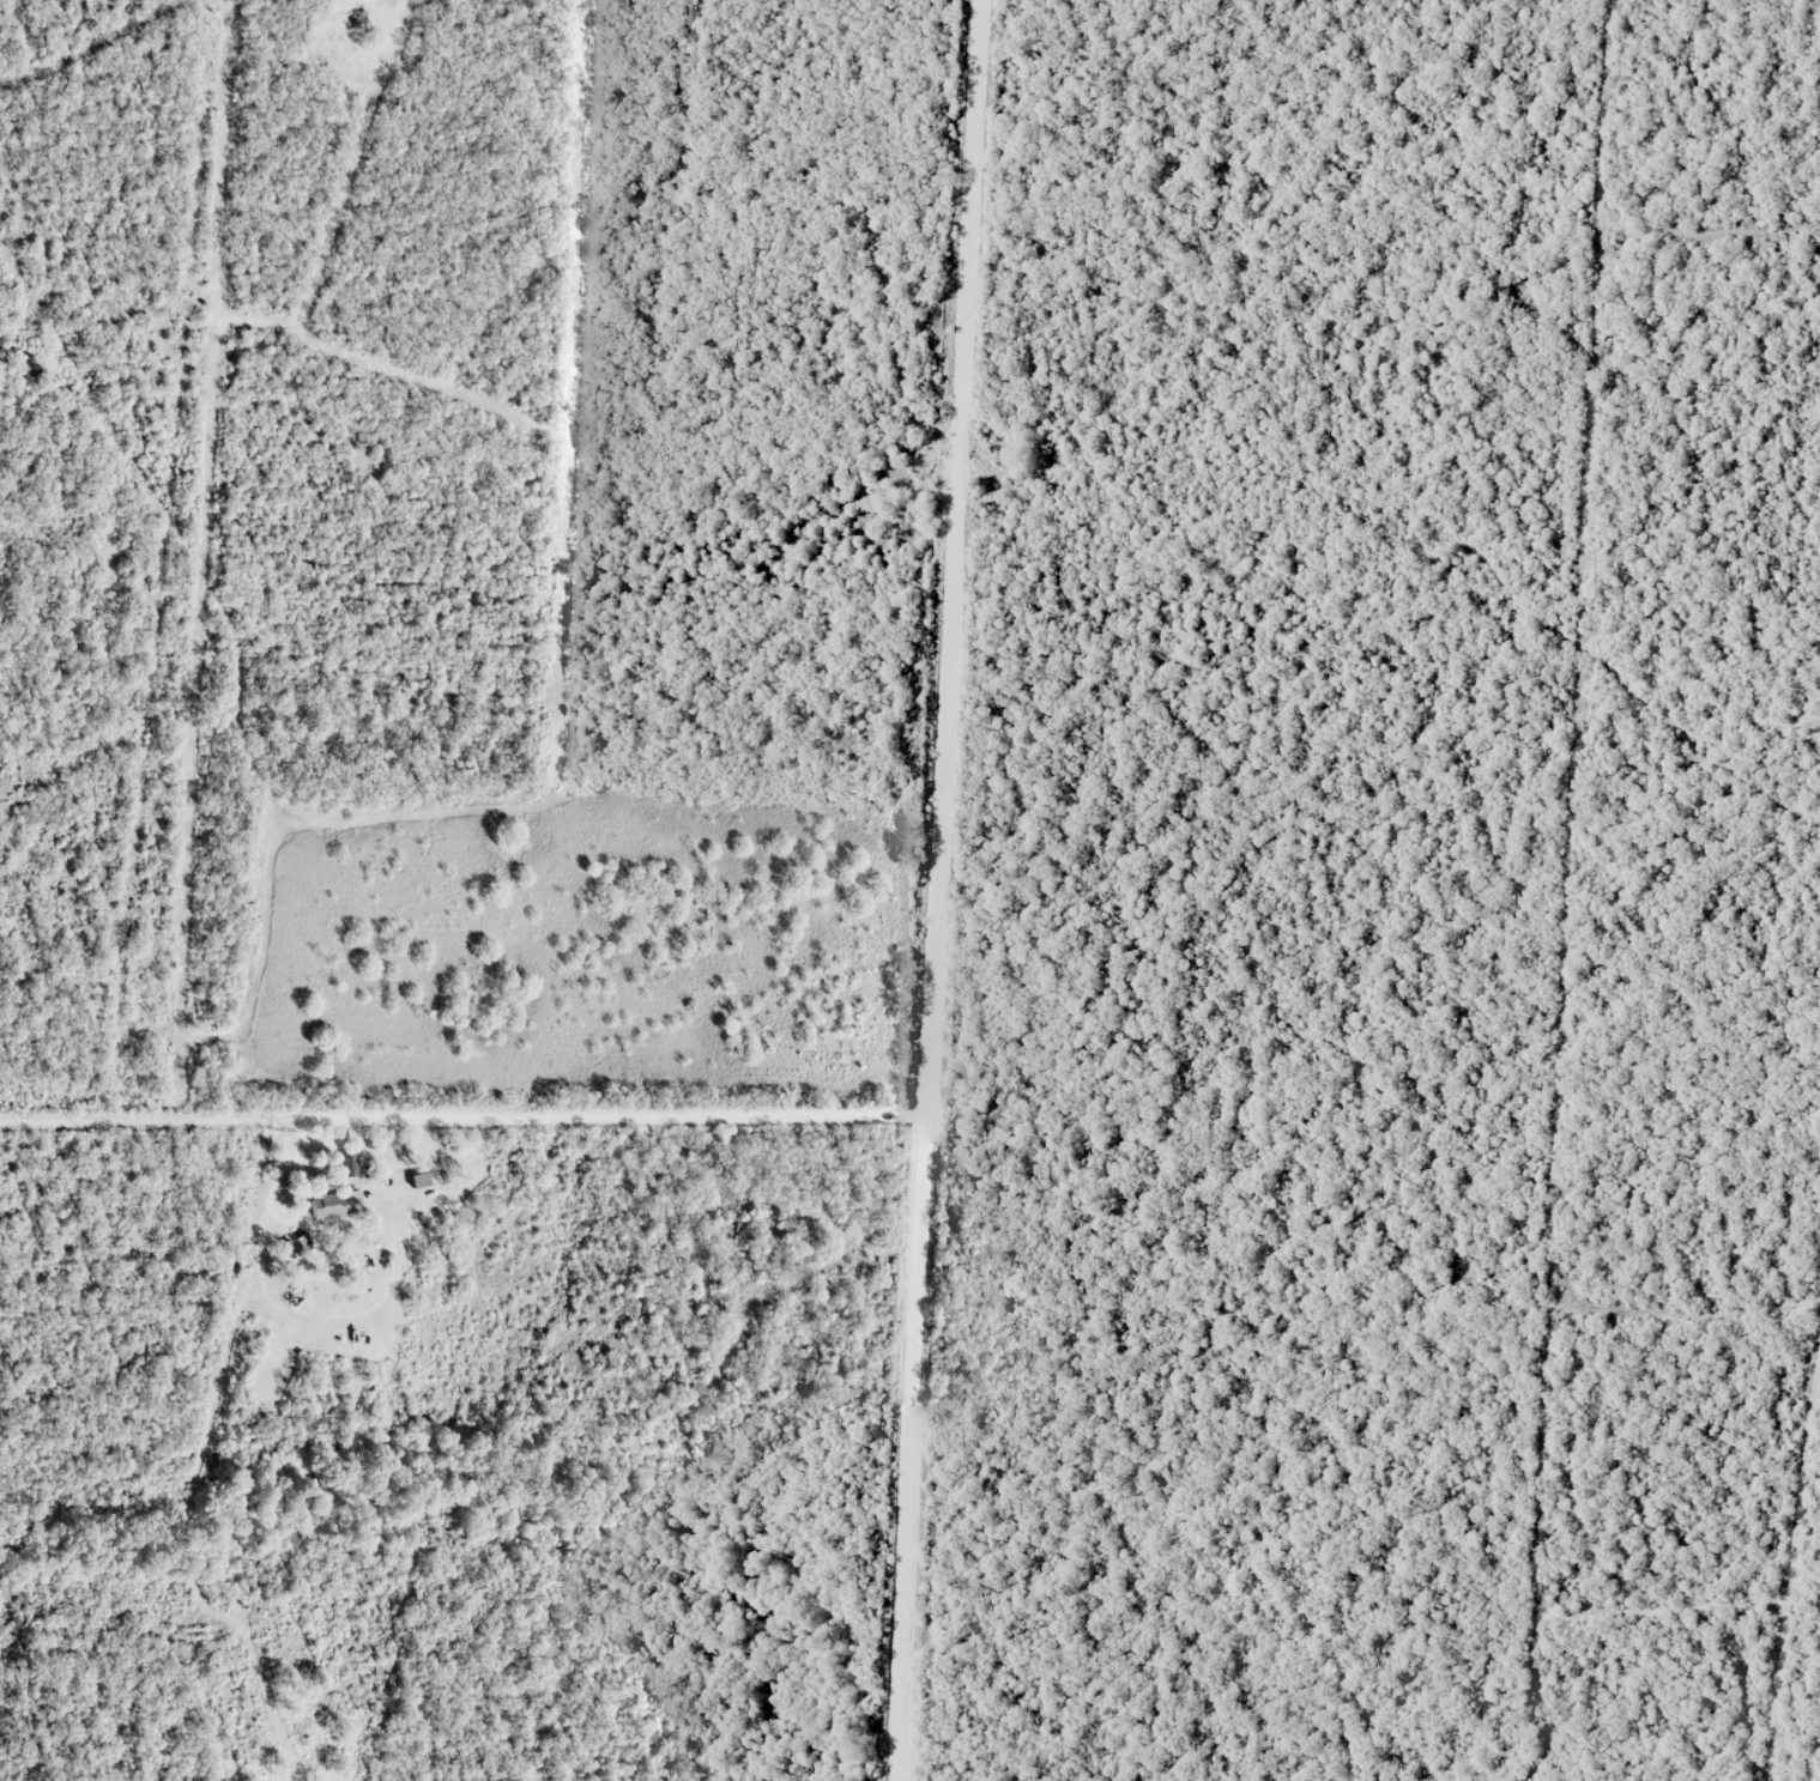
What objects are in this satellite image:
road: (935, 890)
building: (351, 1164)
building: (334, 1203)

